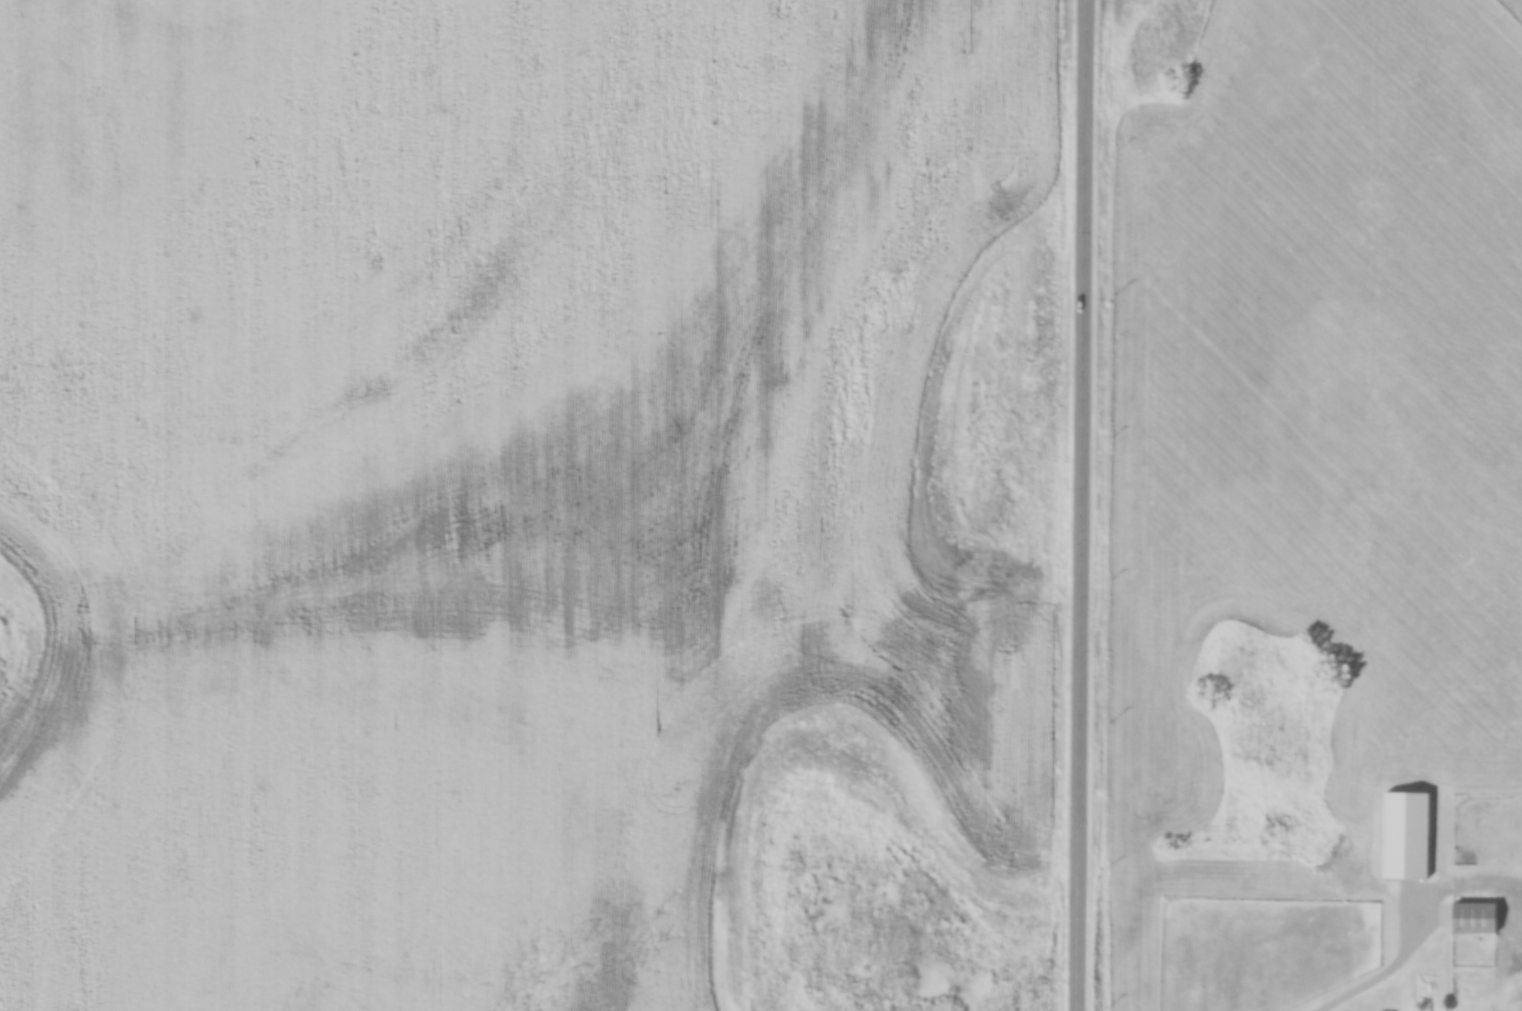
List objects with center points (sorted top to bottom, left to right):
airport: (1520, 1)
road: (1086, 505)
building: (1407, 835)
building: (1476, 918)
road: (1382, 975)

